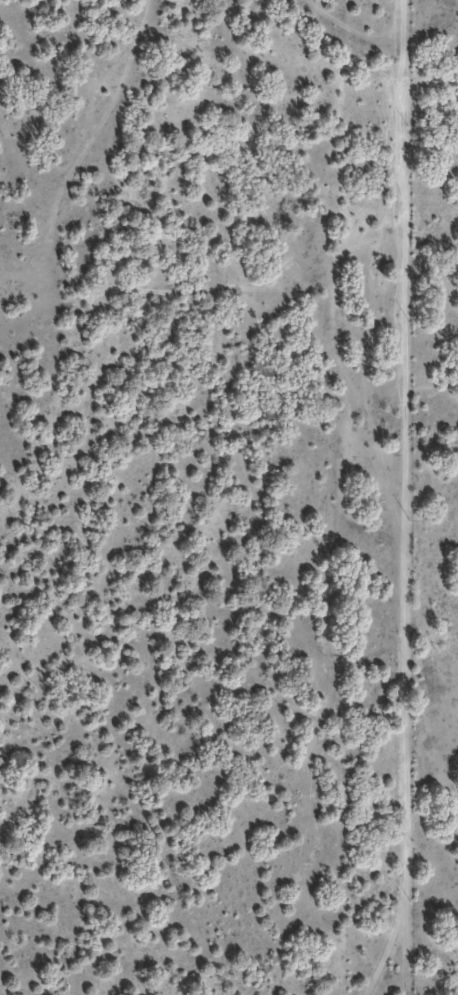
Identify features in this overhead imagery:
road: (423, 121)
road: (357, 492)

